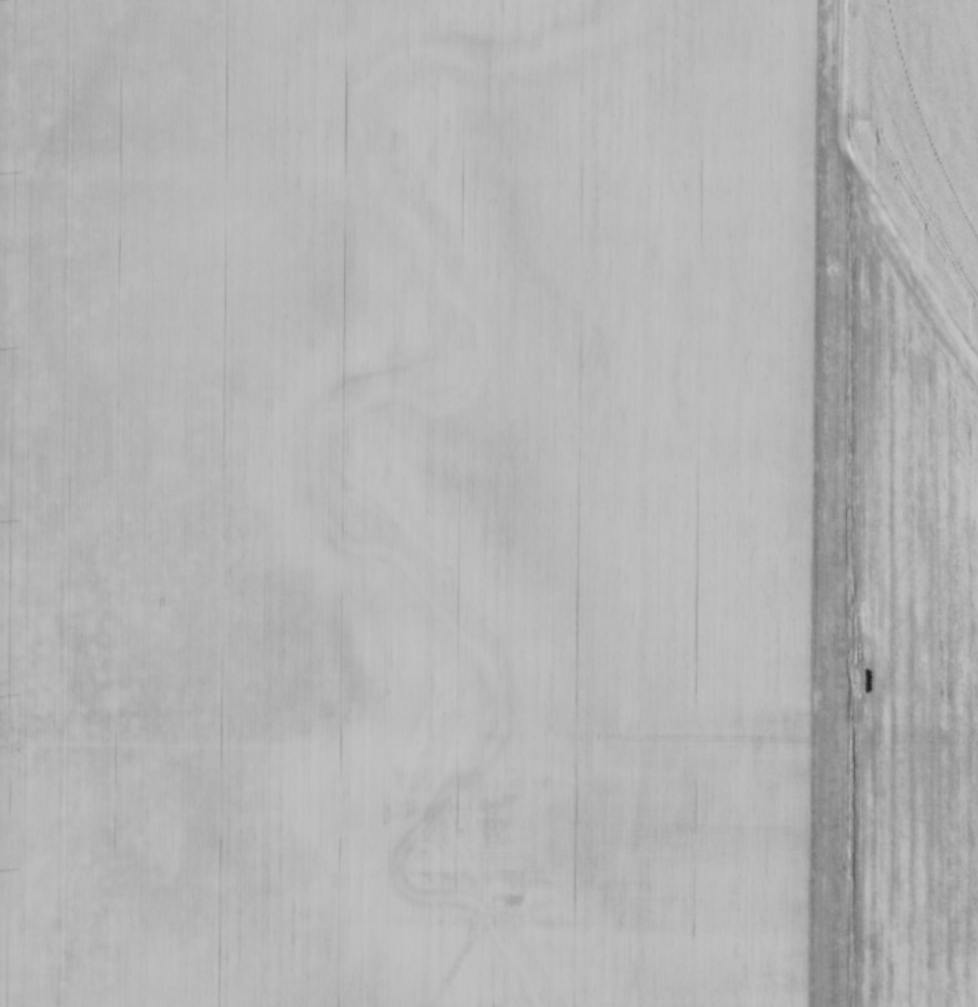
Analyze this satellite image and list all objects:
crop: (406, 502)

